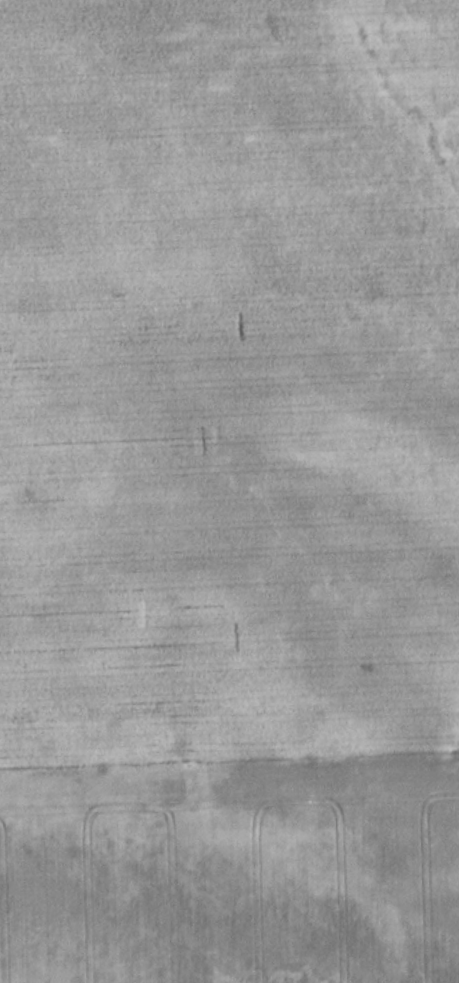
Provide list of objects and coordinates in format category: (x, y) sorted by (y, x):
power tower: (359, 921)

